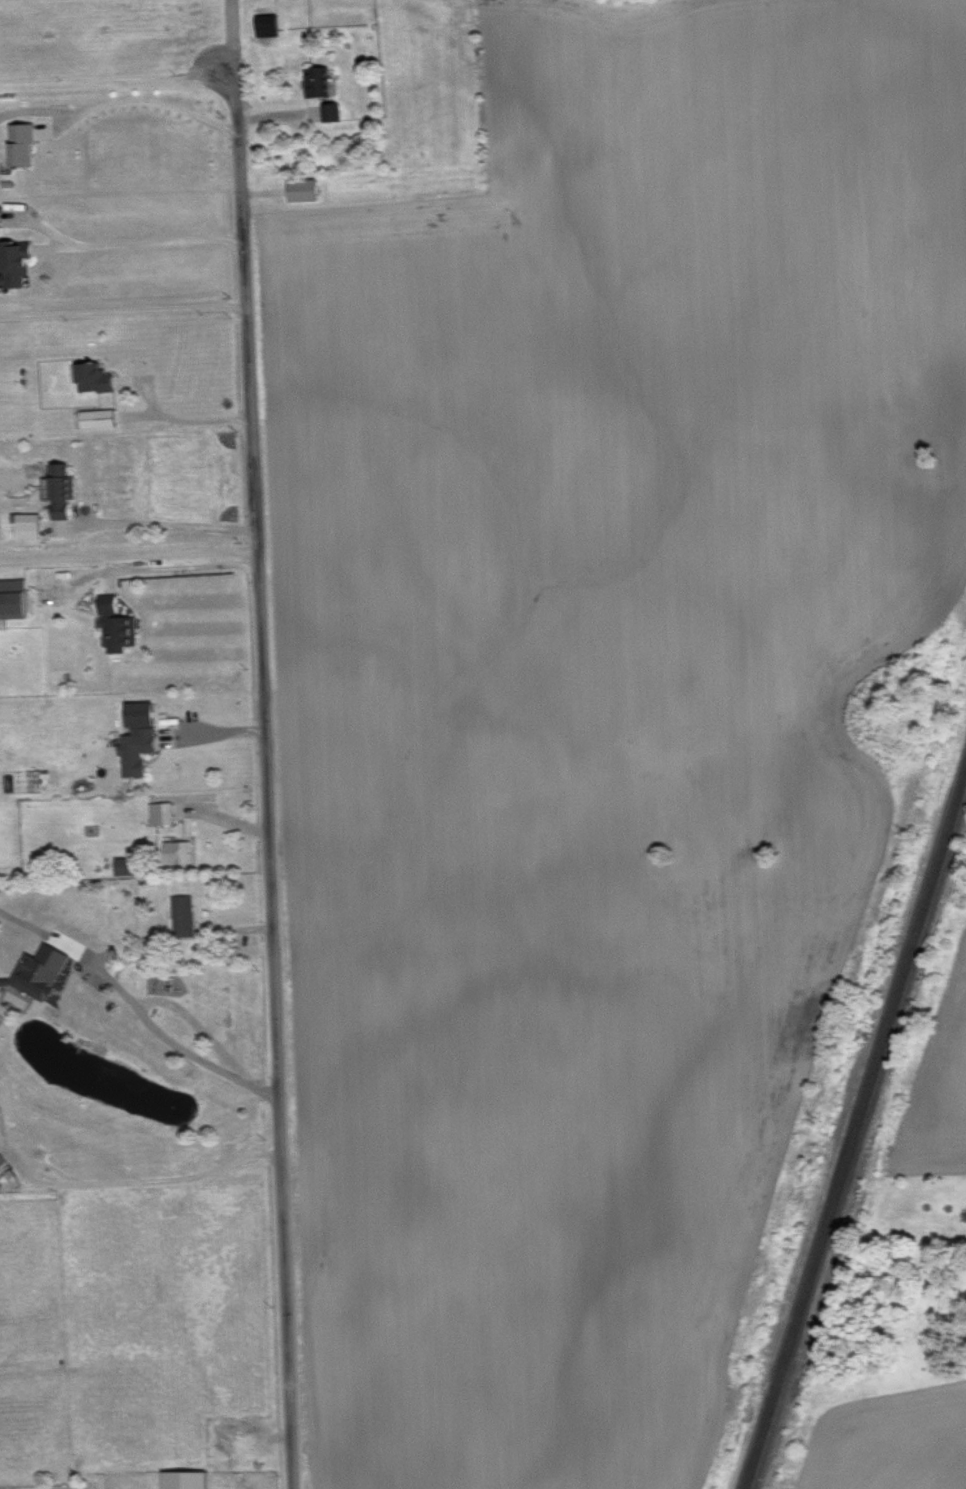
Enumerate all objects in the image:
building: (268, 24)
building: (318, 80)
road: (104, 84)
road: (134, 102)
building: (331, 111)
building: (27, 140)
building: (305, 189)
building: (0, 223)
road: (109, 246)
building: (16, 262)
road: (110, 312)
building: (95, 376)
building: (99, 417)
road: (179, 421)
building: (60, 488)
road: (161, 523)
building: (30, 525)
road: (126, 555)
road: (179, 568)
building: (14, 597)
building: (118, 624)
road: (210, 735)
building: (139, 738)
road: (261, 742)
building: (162, 813)
building: (178, 851)
building: (128, 865)
building: (184, 915)
road: (49, 933)
building: (42, 972)
road: (174, 1042)
railway: (854, 1117)
building: (2, 1160)
road: (121, 1181)
building: (186, 1479)

